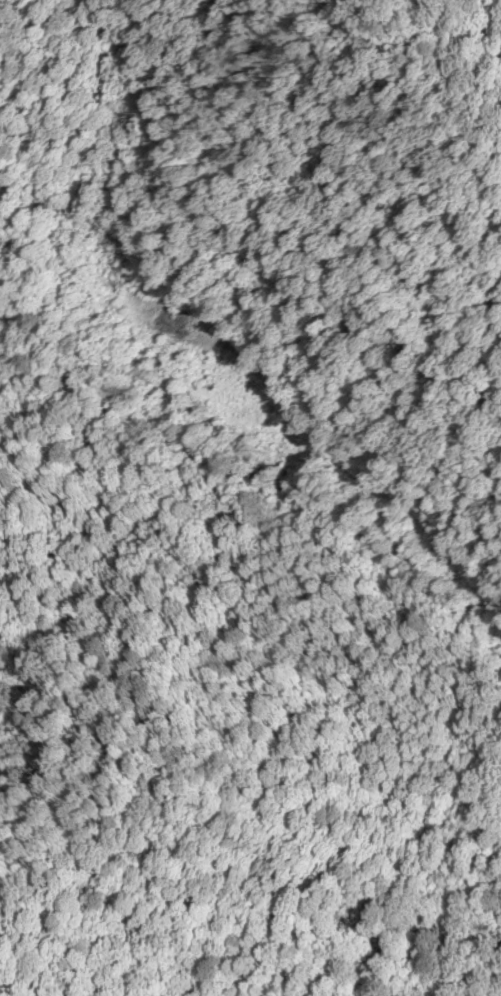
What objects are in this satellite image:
road: (496, 934)

